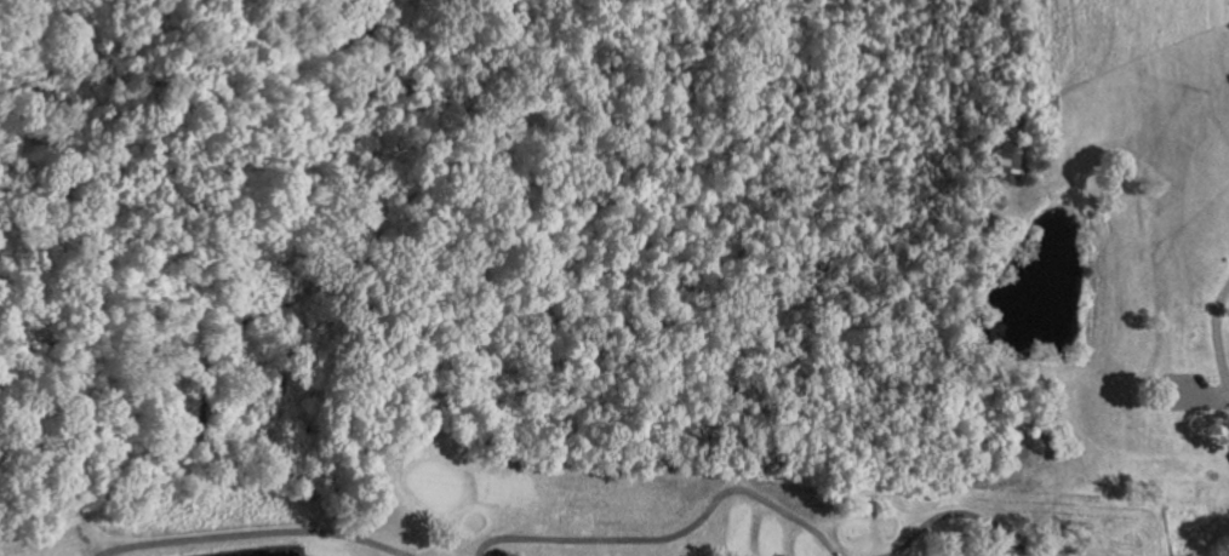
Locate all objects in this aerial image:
road: (1210, 336)
park: (573, 508)
road: (961, 521)
road: (248, 534)
road: (676, 539)

